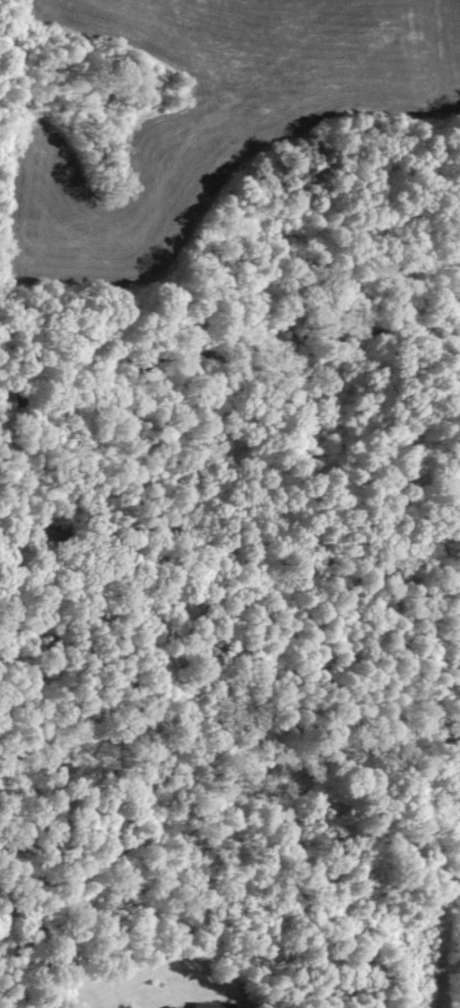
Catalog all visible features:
building: (210, 1005)
building: (166, 1007)

